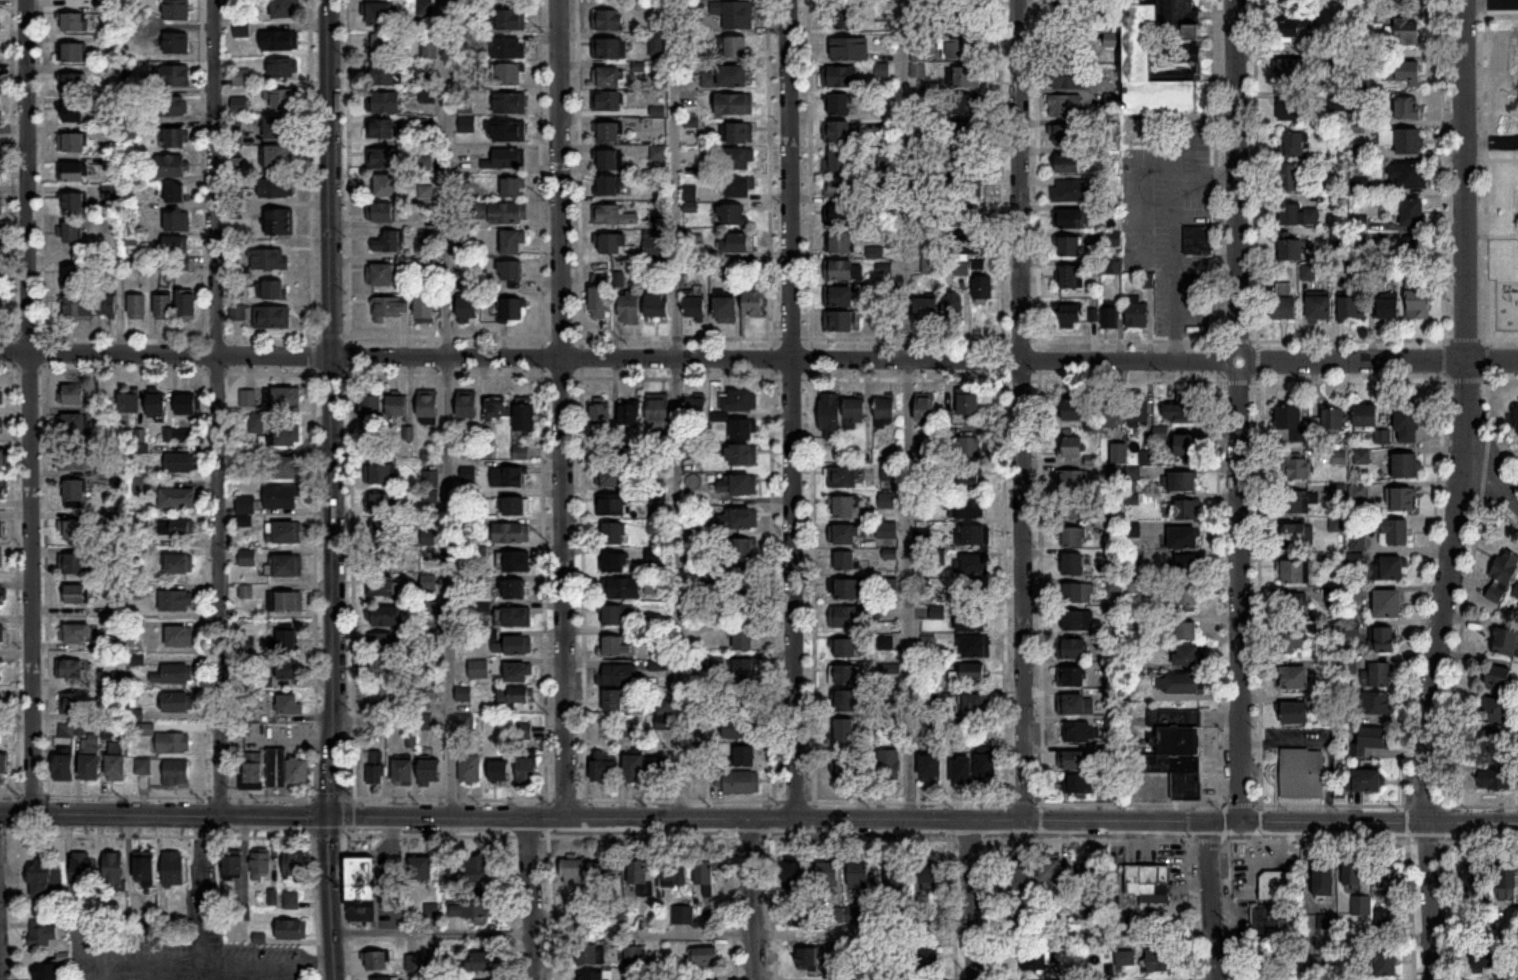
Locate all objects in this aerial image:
building: (424, 7)
building: (175, 9)
building: (282, 9)
building: (735, 13)
building: (379, 14)
building: (845, 15)
building: (1061, 16)
building: (959, 18)
building: (605, 19)
building: (511, 20)
building: (1295, 21)
building: (73, 22)
building: (242, 29)
building: (1408, 30)
building: (278, 39)
building: (1109, 41)
building: (175, 43)
building: (656, 44)
building: (384, 45)
building: (607, 47)
building: (737, 47)
building: (1063, 47)
building: (507, 48)
building: (963, 48)
building: (850, 49)
building: (73, 51)
building: (918, 55)
building: (1184, 58)
building: (283, 68)
building: (882, 70)
building: (1289, 72)
building: (385, 75)
building: (508, 75)
building: (1404, 75)
building: (172, 76)
building: (605, 76)
building: (724, 76)
building: (838, 76)
building: (967, 77)
building: (1071, 77)
building: (241, 78)
building: (74, 82)
building: (0, 85)
building: (283, 99)
building: (605, 99)
building: (508, 101)
building: (385, 103)
building: (1337, 103)
building: (734, 104)
building: (967, 104)
building: (173, 105)
building: (239, 105)
building: (839, 105)
building: (1065, 106)
building: (1408, 107)
building: (1291, 109)
building: (74, 112)
building: (0, 117)
building: (277, 128)
building: (381, 129)
building: (607, 129)
building: (509, 132)
building: (740, 132)
building: (837, 132)
building: (966, 132)
building: (1068, 135)
building: (1386, 137)
building: (174, 138)
building: (1409, 141)
building: (72, 142)
road: (1491, 142)
building: (1292, 144)
building: (279, 157)
building: (383, 158)
building: (740, 159)
building: (504, 160)
building: (608, 160)
building: (964, 160)
building: (838, 161)
building: (1068, 163)
building: (171, 166)
road: (201, 167)
road: (309, 167)
road: (347, 167)
building: (71, 172)
building: (1408, 175)
building: (1289, 177)
building: (737, 184)
building: (387, 185)
building: (608, 186)
building: (838, 187)
building: (965, 187)
building: (277, 188)
building: (512, 188)
building: (1071, 191)
building: (176, 193)
building: (72, 202)
building: (0, 206)
building: (382, 212)
building: (609, 212)
building: (1412, 212)
road: (1139, 213)
building: (500, 214)
building: (731, 215)
building: (838, 215)
building: (1297, 215)
building: (1068, 219)
building: (279, 221)
building: (178, 222)
building: (72, 232)
road: (1173, 236)
building: (511, 240)
building: (1195, 240)
building: (390, 242)
building: (736, 243)
building: (839, 243)
building: (966, 243)
building: (612, 244)
building: (695, 244)
building: (176, 245)
building: (1070, 247)
building: (652, 248)
building: (1290, 249)
building: (1413, 250)
building: (929, 257)
building: (270, 259)
building: (430, 267)
building: (962, 268)
building: (882, 269)
building: (511, 270)
building: (839, 270)
building: (379, 274)
building: (76, 276)
building: (1071, 277)
building: (983, 288)
building: (272, 289)
building: (599, 290)
building: (836, 295)
building: (1418, 299)
building: (753, 301)
building: (694, 302)
building: (0, 304)
building: (136, 304)
building: (187, 304)
building: (76, 305)
building: (108, 305)
building: (164, 306)
building: (655, 307)
building: (723, 307)
building: (1285, 307)
building: (389, 308)
building: (630, 308)
building: (953, 308)
building: (1320, 308)
building: (1350, 308)
building: (1388, 308)
building: (511, 309)
building: (926, 309)
building: (424, 310)
building: (468, 310)
building: (237, 311)
building: (1136, 311)
building: (1071, 315)
building: (270, 316)
building: (1110, 317)
building: (838, 319)
road: (239, 335)
road: (758, 359)
building: (72, 395)
building: (285, 397)
building: (1, 398)
building: (247, 399)
building: (740, 400)
building: (129, 403)
building: (968, 403)
building: (156, 404)
building: (186, 404)
building: (428, 404)
building: (397, 405)
building: (467, 406)
road: (28, 407)
road: (330, 407)
building: (496, 407)
road: (215, 408)
road: (445, 408)
building: (658, 408)
building: (925, 408)
building: (1073, 408)
building: (370, 409)
road: (559, 409)
road: (675, 409)
road: (789, 410)
road: (907, 410)
road: (1016, 410)
building: (1183, 410)
building: (697, 411)
building: (886, 411)
road: (1238, 411)
building: (856, 412)
building: (1112, 412)
building: (1139, 412)
road: (1467, 413)
building: (629, 414)
building: (830, 415)
building: (600, 416)
building: (524, 417)
building: (1366, 417)
building: (1333, 419)
building: (1516, 419)
building: (1290, 420)
building: (256, 423)
building: (72, 424)
building: (1407, 424)
building: (742, 429)
building: (176, 434)
building: (287, 435)
building: (1383, 437)
building: (1071, 443)
building: (1187, 447)
building: (376, 449)
building: (968, 450)
building: (523, 453)
building: (740, 455)
building: (3, 459)
building: (71, 461)
building: (179, 462)
road: (1492, 463)
building: (286, 466)
building: (1406, 466)
building: (115, 469)
building: (1297, 469)
building: (888, 472)
building: (382, 474)
building: (514, 476)
building: (609, 476)
building: (842, 477)
building: (967, 479)
building: (1071, 480)
building: (1180, 482)
building: (737, 485)
building: (140, 486)
building: (2, 490)
building: (74, 494)
building: (282, 496)
building: (176, 498)
building: (1403, 499)
building: (886, 500)
building: (1294, 502)
building: (379, 503)
building: (611, 504)
building: (514, 505)
building: (1072, 506)
building: (846, 507)
building: (966, 507)
building: (1187, 509)
building: (245, 510)
building: (737, 519)
building: (176, 527)
building: (655, 527)
building: (0, 530)
building: (887, 530)
building: (74, 531)
building: (287, 532)
building: (381, 533)
building: (511, 533)
building: (1396, 533)
building: (613, 534)
building: (844, 534)
building: (971, 535)
building: (1074, 537)
building: (1184, 537)
building: (1295, 538)
building: (1357, 544)
building: (740, 549)
building: (247, 557)
building: (657, 557)
building: (938, 557)
building: (0, 558)
building: (380, 559)
building: (845, 561)
building: (513, 562)
building: (615, 563)
building: (72, 564)
building: (178, 564)
building: (972, 564)
building: (1074, 564)
building: (1187, 565)
building: (285, 566)
building: (1388, 569)
building: (1294, 572)
building: (1503, 577)
building: (738, 579)
building: (382, 587)
building: (652, 587)
building: (621, 589)
building: (973, 589)
building: (512, 590)
building: (849, 590)
building: (1078, 593)
building: (1516, 594)
building: (75, 595)
building: (1187, 596)
building: (1, 597)
building: (175, 601)
building: (285, 602)
building: (1388, 604)
building: (1294, 605)
building: (742, 606)
building: (617, 615)
building: (384, 617)
building: (513, 617)
building: (848, 617)
building: (973, 620)
building: (1076, 621)
building: (1187, 631)
building: (1, 634)
building: (76, 635)
building: (179, 637)
building: (744, 639)
building: (287, 640)
building: (1294, 641)
building: (1382, 641)
building: (1507, 642)
building: (381, 643)
building: (511, 644)
building: (975, 647)
building: (616, 648)
building: (847, 649)
building: (1072, 649)
building: (1186, 655)
building: (381, 669)
building: (478, 669)
building: (70, 670)
building: (288, 671)
building: (518, 672)
building: (744, 672)
building: (969, 673)
building: (173, 675)
building: (616, 675)
building: (844, 675)
building: (1381, 675)
building: (1071, 677)
building: (1295, 679)
building: (1501, 683)
building: (1179, 684)
building: (463, 694)
building: (511, 696)
building: (383, 699)
building: (613, 701)
building: (744, 701)
building: (846, 701)
building: (177, 702)
building: (74, 704)
building: (977, 704)
building: (1377, 704)
building: (290, 705)
building: (1075, 705)
building: (1495, 711)
building: (1296, 713)
building: (664, 715)
building: (465, 722)
building: (146, 729)
building: (741, 729)
building: (66, 731)
building: (524, 732)
building: (845, 732)
building: (1077, 732)
building: (1369, 741)
building: (173, 743)
building: (700, 750)
building: (1176, 751)
building: (90, 757)
building: (745, 757)
building: (1074, 760)
building: (4, 764)
building: (116, 764)
building: (961, 764)
building: (64, 766)
building: (143, 767)
building: (889, 767)
building: (661, 768)
building: (987, 768)
building: (469, 769)
building: (604, 769)
building: (634, 769)
building: (932, 769)
building: (286, 770)
building: (499, 771)
building: (403, 772)
building: (430, 772)
building: (176, 773)
building: (527, 773)
building: (847, 773)
building: (253, 774)
building: (375, 774)
building: (1302, 774)
building: (1498, 780)
building: (1368, 781)
building: (742, 782)
building: (1079, 783)
road: (164, 816)
traffic signals: (329, 816)
road: (923, 821)
building: (233, 866)
building: (294, 866)
building: (261, 867)
building: (421, 869)
building: (477, 869)
building: (82, 870)
building: (173, 870)
building: (1019, 871)
building: (115, 872)
building: (145, 872)
building: (573, 872)
building: (1051, 872)
building: (705, 873)
building: (675, 874)
building: (828, 874)
building: (927, 874)
building: (1353, 874)
building: (794, 875)
building: (859, 875)
building: (640, 876)
building: (1474, 877)
building: (1508, 877)
building: (1091, 879)
building: (45, 880)
building: (895, 880)
building: (1390, 880)
building: (607, 881)
building: (1324, 881)
building: (1148, 883)
building: (1275, 886)
building: (361, 890)
road: (333, 897)
road: (201, 898)
building: (272, 898)
road: (531, 899)
road: (753, 899)
building: (291, 900)
road: (972, 901)
road: (1213, 901)
road: (1429, 901)
building: (1361, 906)
building: (472, 907)
building: (432, 911)
building: (683, 915)
building: (859, 915)
building: (1270, 918)
building: (1382, 918)
building: (1326, 922)
building: (292, 930)
road: (433, 930)
road: (643, 933)
building: (43, 934)
road: (985, 934)
building: (633, 954)
building: (590, 955)
building: (704, 957)
building: (1125, 958)
road: (269, 959)
building: (808, 959)
building: (1035, 960)
building: (377, 961)
building: (1161, 961)
building: (481, 962)
building: (1314, 962)
building: (1384, 962)
building: (1491, 962)
road: (146, 966)
building: (46, 972)
road: (0, 975)
building: (592, 975)
building: (382, 978)

